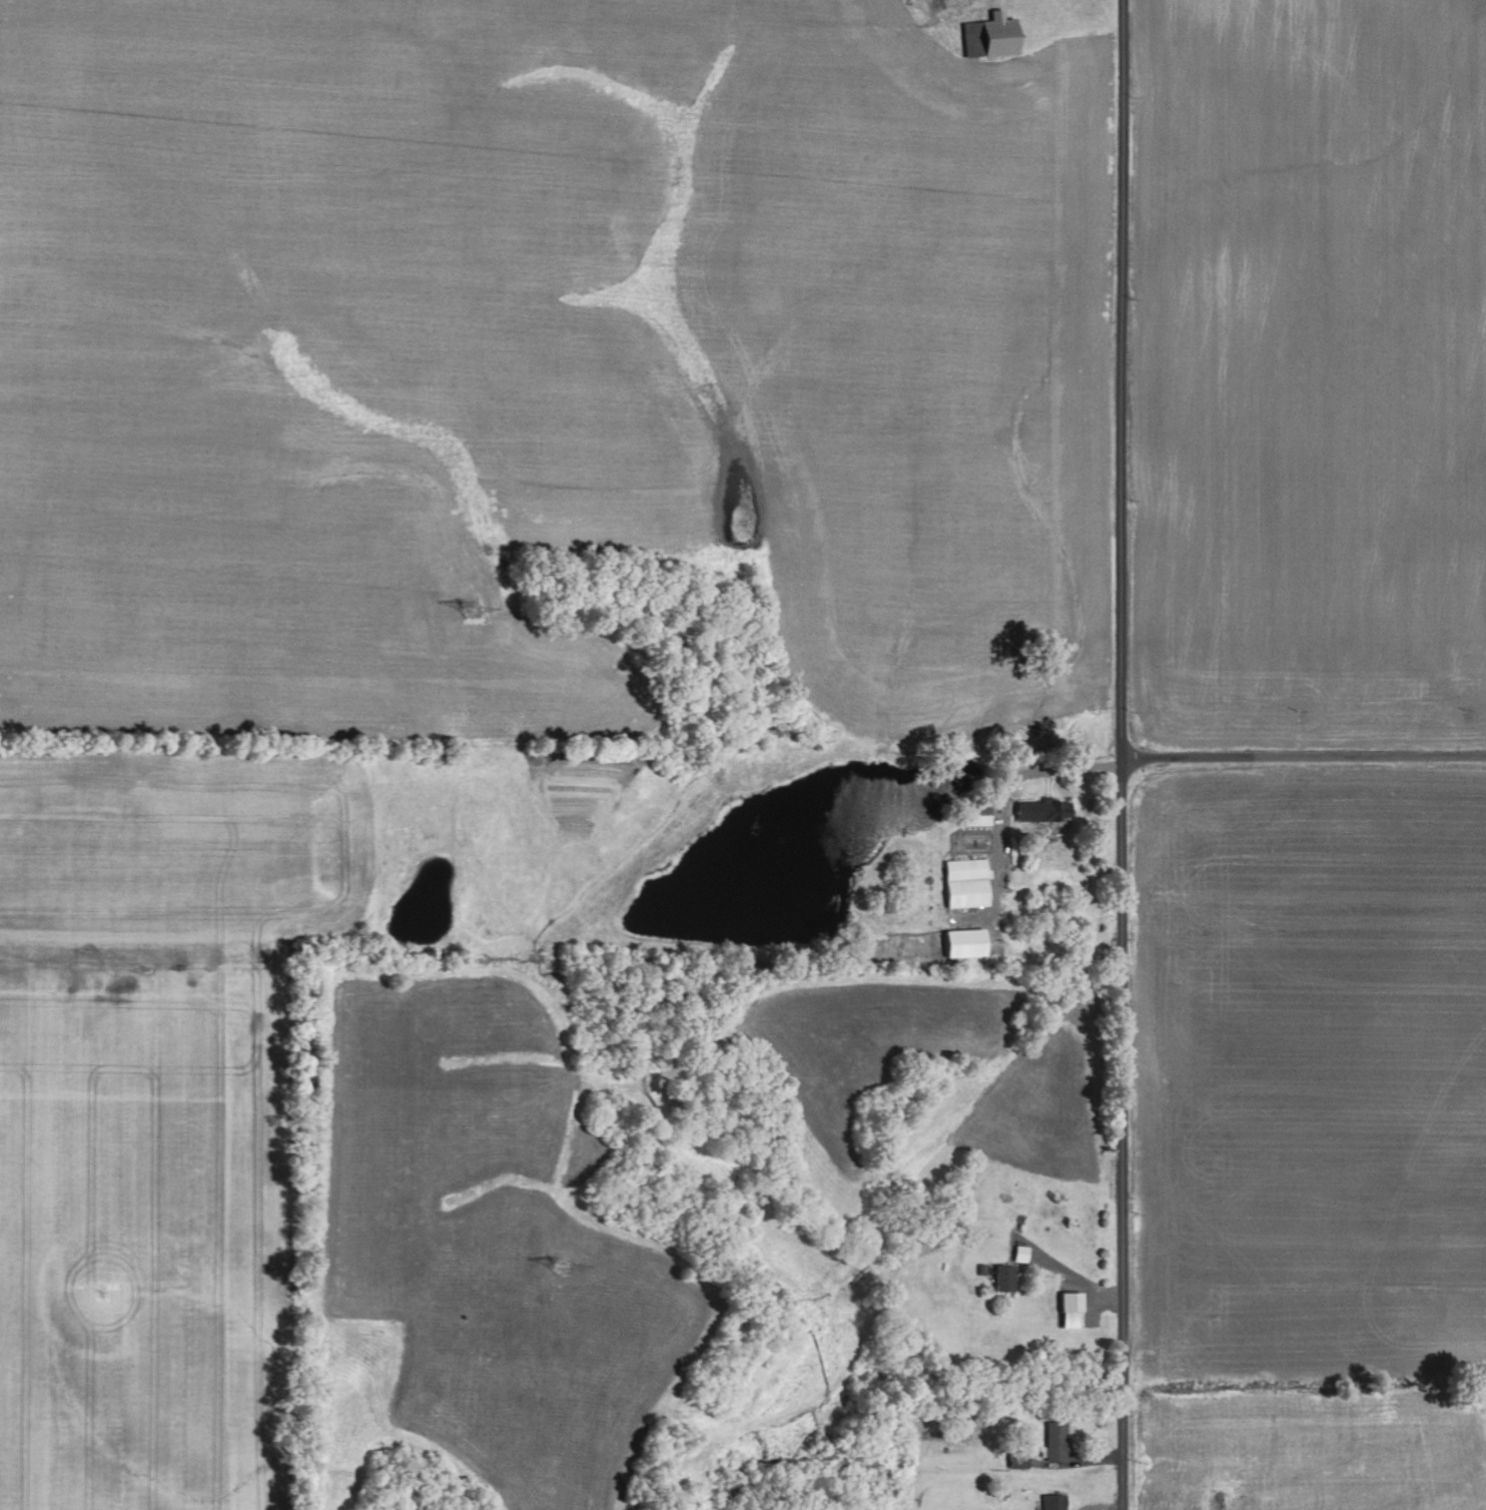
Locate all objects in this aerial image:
power tower: (472, 609)
road: (1123, 754)
road: (1304, 758)
building: (1037, 813)
building: (958, 944)
power tower: (567, 1272)
building: (1000, 1280)
building: (1066, 1312)
building: (1051, 1447)

